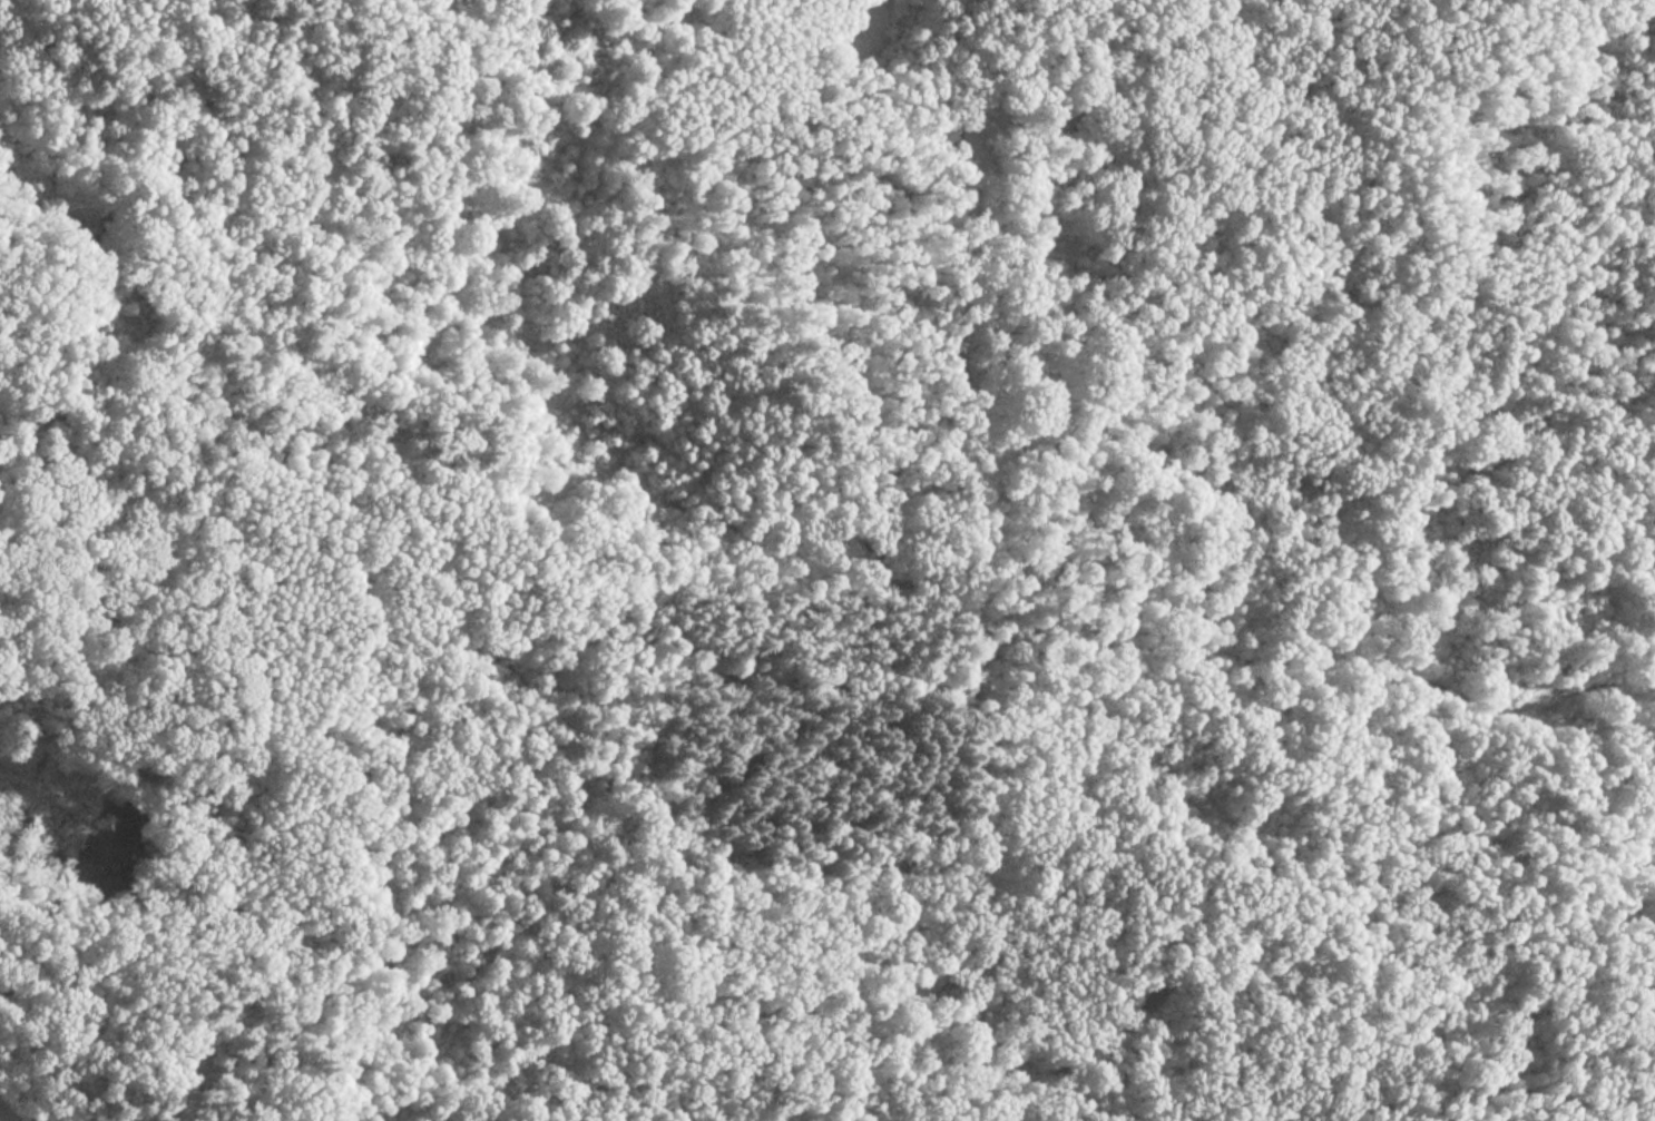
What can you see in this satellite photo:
park: (827, 560)
road: (986, 560)

